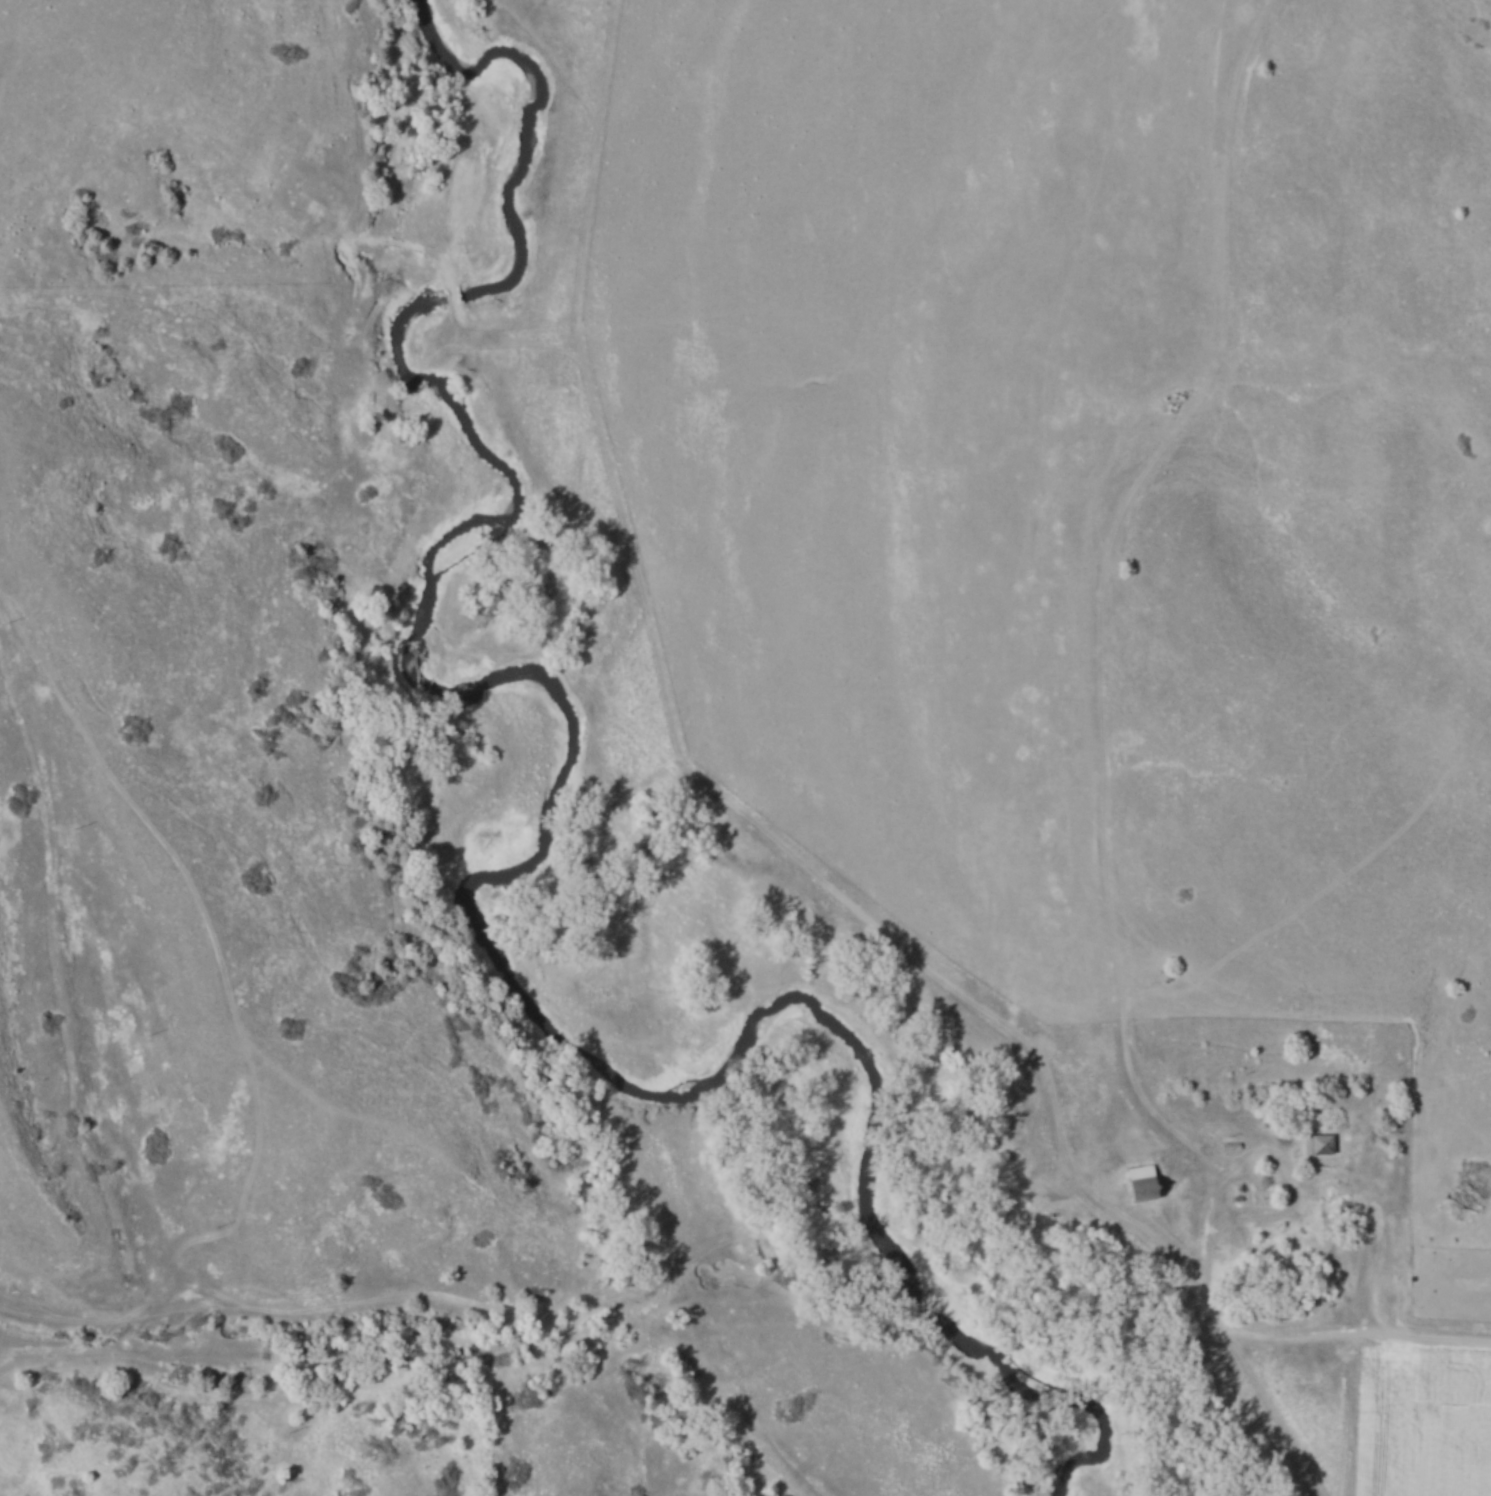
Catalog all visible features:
building: (1321, 1144)
building: (1140, 1172)
building: (1144, 1190)
road: (1363, 1286)
crop: (1423, 1420)

